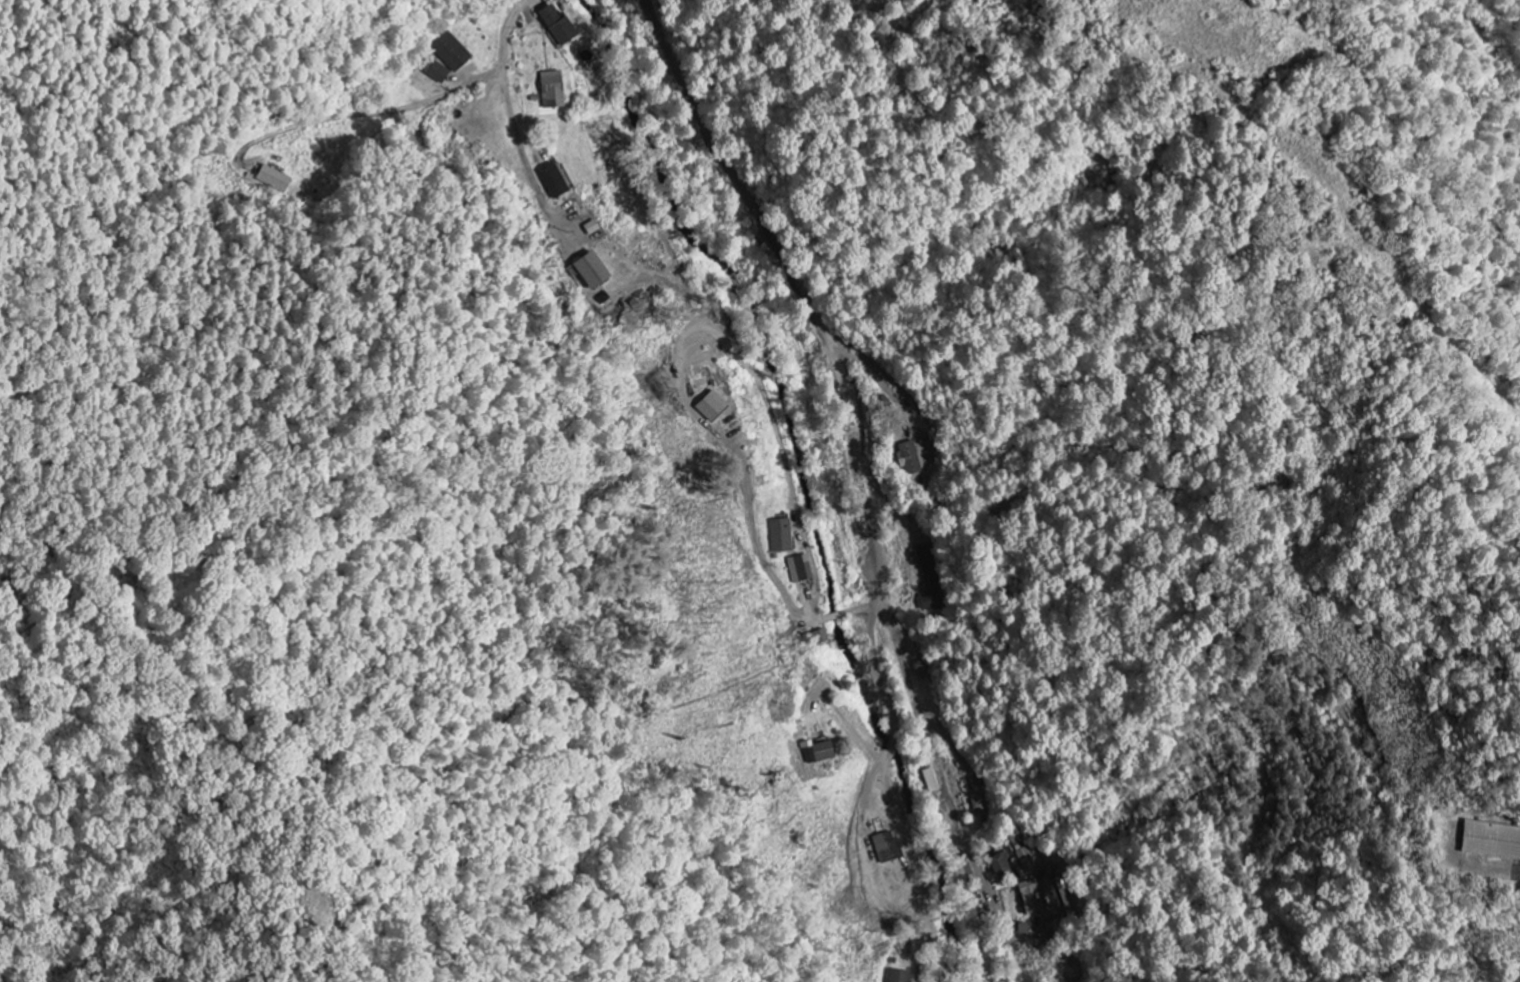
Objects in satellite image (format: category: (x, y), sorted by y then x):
building: (556, 27)
road: (506, 29)
building: (450, 52)
building: (438, 74)
building: (551, 91)
building: (274, 180)
building: (552, 182)
building: (590, 272)
building: (710, 407)
building: (908, 459)
road: (858, 473)
building: (780, 536)
building: (799, 568)
building: (930, 580)
building: (921, 670)
road: (931, 745)
building: (814, 753)
building: (929, 780)
building: (1491, 841)
building: (886, 847)
building: (1022, 855)
building: (1000, 865)
building: (1029, 898)
building: (899, 976)

